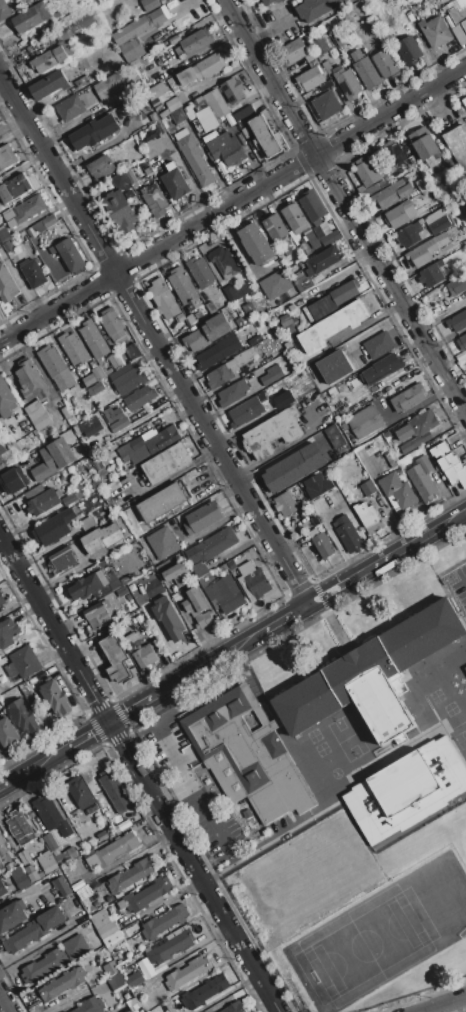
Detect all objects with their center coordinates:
building: (401, 0)
building: (433, 0)
building: (270, 2)
building: (461, 3)
building: (150, 4)
building: (317, 8)
building: (4, 10)
building: (457, 14)
building: (33, 17)
building: (156, 18)
building: (64, 19)
building: (464, 24)
building: (77, 27)
road: (270, 28)
building: (321, 29)
building: (131, 30)
building: (435, 31)
building: (194, 42)
building: (320, 46)
building: (70, 50)
building: (295, 50)
building: (409, 50)
building: (60, 53)
building: (149, 56)
building: (311, 56)
building: (44, 61)
building: (385, 64)
building: (209, 66)
building: (365, 69)
building: (143, 72)
building: (186, 76)
building: (310, 79)
building: (83, 82)
building: (346, 82)
building: (50, 85)
building: (326, 85)
building: (110, 86)
building: (232, 89)
building: (156, 91)
building: (198, 101)
building: (464, 101)
building: (156, 102)
building: (215, 103)
building: (327, 105)
building: (71, 108)
building: (164, 113)
building: (243, 113)
building: (178, 116)
building: (153, 117)
building: (206, 118)
road: (12, 122)
building: (161, 127)
building: (95, 132)
building: (265, 135)
building: (211, 137)
building: (458, 144)
building: (425, 148)
building: (226, 149)
building: (395, 156)
building: (7, 158)
building: (194, 158)
building: (137, 171)
building: (367, 172)
building: (148, 175)
building: (131, 176)
building: (119, 180)
building: (175, 181)
building: (423, 184)
building: (14, 188)
building: (392, 193)
building: (154, 199)
road: (232, 204)
road: (347, 204)
building: (312, 206)
building: (29, 208)
building: (119, 209)
building: (399, 216)
building: (49, 221)
building: (438, 221)
building: (299, 222)
building: (39, 226)
building: (275, 228)
building: (321, 229)
building: (30, 232)
building: (6, 235)
building: (409, 235)
building: (330, 238)
building: (255, 243)
building: (8, 246)
building: (427, 250)
building: (69, 255)
building: (224, 260)
building: (323, 260)
building: (200, 271)
building: (33, 273)
building: (431, 274)
building: (245, 282)
building: (302, 283)
building: (275, 284)
building: (456, 284)
building: (7, 285)
building: (184, 288)
building: (247, 288)
building: (213, 289)
building: (229, 292)
building: (252, 292)
building: (346, 293)
building: (164, 299)
building: (328, 304)
building: (247, 306)
building: (211, 307)
building: (276, 311)
road: (443, 316)
building: (181, 317)
building: (191, 319)
road: (371, 319)
building: (285, 320)
building: (457, 321)
building: (111, 324)
building: (332, 326)
building: (209, 333)
road: (154, 338)
building: (94, 339)
building: (254, 340)
building: (462, 342)
building: (229, 345)
building: (288, 345)
building: (379, 345)
building: (73, 348)
building: (132, 351)
building: (209, 358)
building: (240, 360)
building: (115, 361)
building: (334, 366)
building: (57, 368)
building: (249, 368)
building: (381, 368)
building: (97, 373)
building: (272, 373)
building: (219, 376)
building: (127, 379)
building: (31, 381)
building: (97, 387)
building: (232, 392)
building: (139, 398)
building: (408, 398)
building: (284, 399)
building: (6, 400)
building: (60, 403)
building: (269, 403)
building: (245, 412)
building: (65, 413)
building: (112, 414)
building: (37, 415)
building: (70, 421)
building: (365, 421)
building: (119, 424)
building: (91, 427)
building: (417, 430)
building: (185, 433)
building: (273, 433)
building: (386, 434)
building: (335, 436)
building: (151, 441)
building: (188, 444)
building: (15, 449)
building: (440, 451)
building: (2, 453)
building: (6, 457)
building: (53, 459)
building: (390, 460)
building: (0, 461)
building: (448, 461)
building: (166, 463)
building: (294, 467)
building: (192, 473)
building: (457, 474)
building: (422, 477)
road: (164, 479)
building: (13, 480)
building: (113, 485)
building: (317, 485)
building: (368, 488)
building: (398, 489)
building: (70, 499)
building: (108, 499)
building: (44, 501)
building: (161, 502)
building: (286, 504)
building: (367, 515)
building: (202, 518)
road: (25, 523)
building: (53, 527)
building: (347, 534)
building: (101, 538)
building: (163, 543)
building: (321, 543)
building: (215, 544)
building: (63, 559)
building: (191, 560)
building: (176, 573)
building: (253, 581)
building: (94, 585)
building: (122, 591)
building: (225, 593)
building: (128, 597)
building: (175, 597)
building: (2, 599)
building: (194, 601)
building: (98, 615)
building: (208, 617)
building: (168, 618)
building: (200, 621)
building: (8, 632)
road: (233, 650)
building: (141, 653)
building: (115, 658)
building: (23, 663)
building: (465, 667)
building: (374, 676)
building: (55, 697)
building: (24, 716)
traffic signals: (112, 723)
building: (7, 733)
building: (246, 755)
road: (7, 766)
road: (161, 769)
road: (140, 771)
building: (111, 785)
building: (407, 790)
building: (82, 795)
road: (207, 806)
building: (51, 816)
building: (20, 827)
building: (116, 829)
building: (102, 836)
building: (1, 839)
road: (269, 840)
building: (50, 842)
building: (112, 851)
building: (66, 857)
building: (24, 858)
building: (47, 862)
building: (0, 863)
building: (29, 869)
building: (34, 876)
building: (130, 876)
building: (19, 877)
building: (61, 886)
building: (2, 888)
building: (144, 895)
building: (13, 915)
building: (78, 918)
building: (99, 919)
building: (164, 921)
building: (34, 929)
building: (107, 930)
building: (112, 941)
building: (76, 947)
building: (171, 947)
building: (43, 966)
building: (110, 968)
building: (187, 973)
building: (134, 980)
building: (117, 981)
building: (62, 983)
building: (209, 989)
road: (5, 1002)
building: (90, 1005)
road: (445, 1005)
building: (234, 1007)

